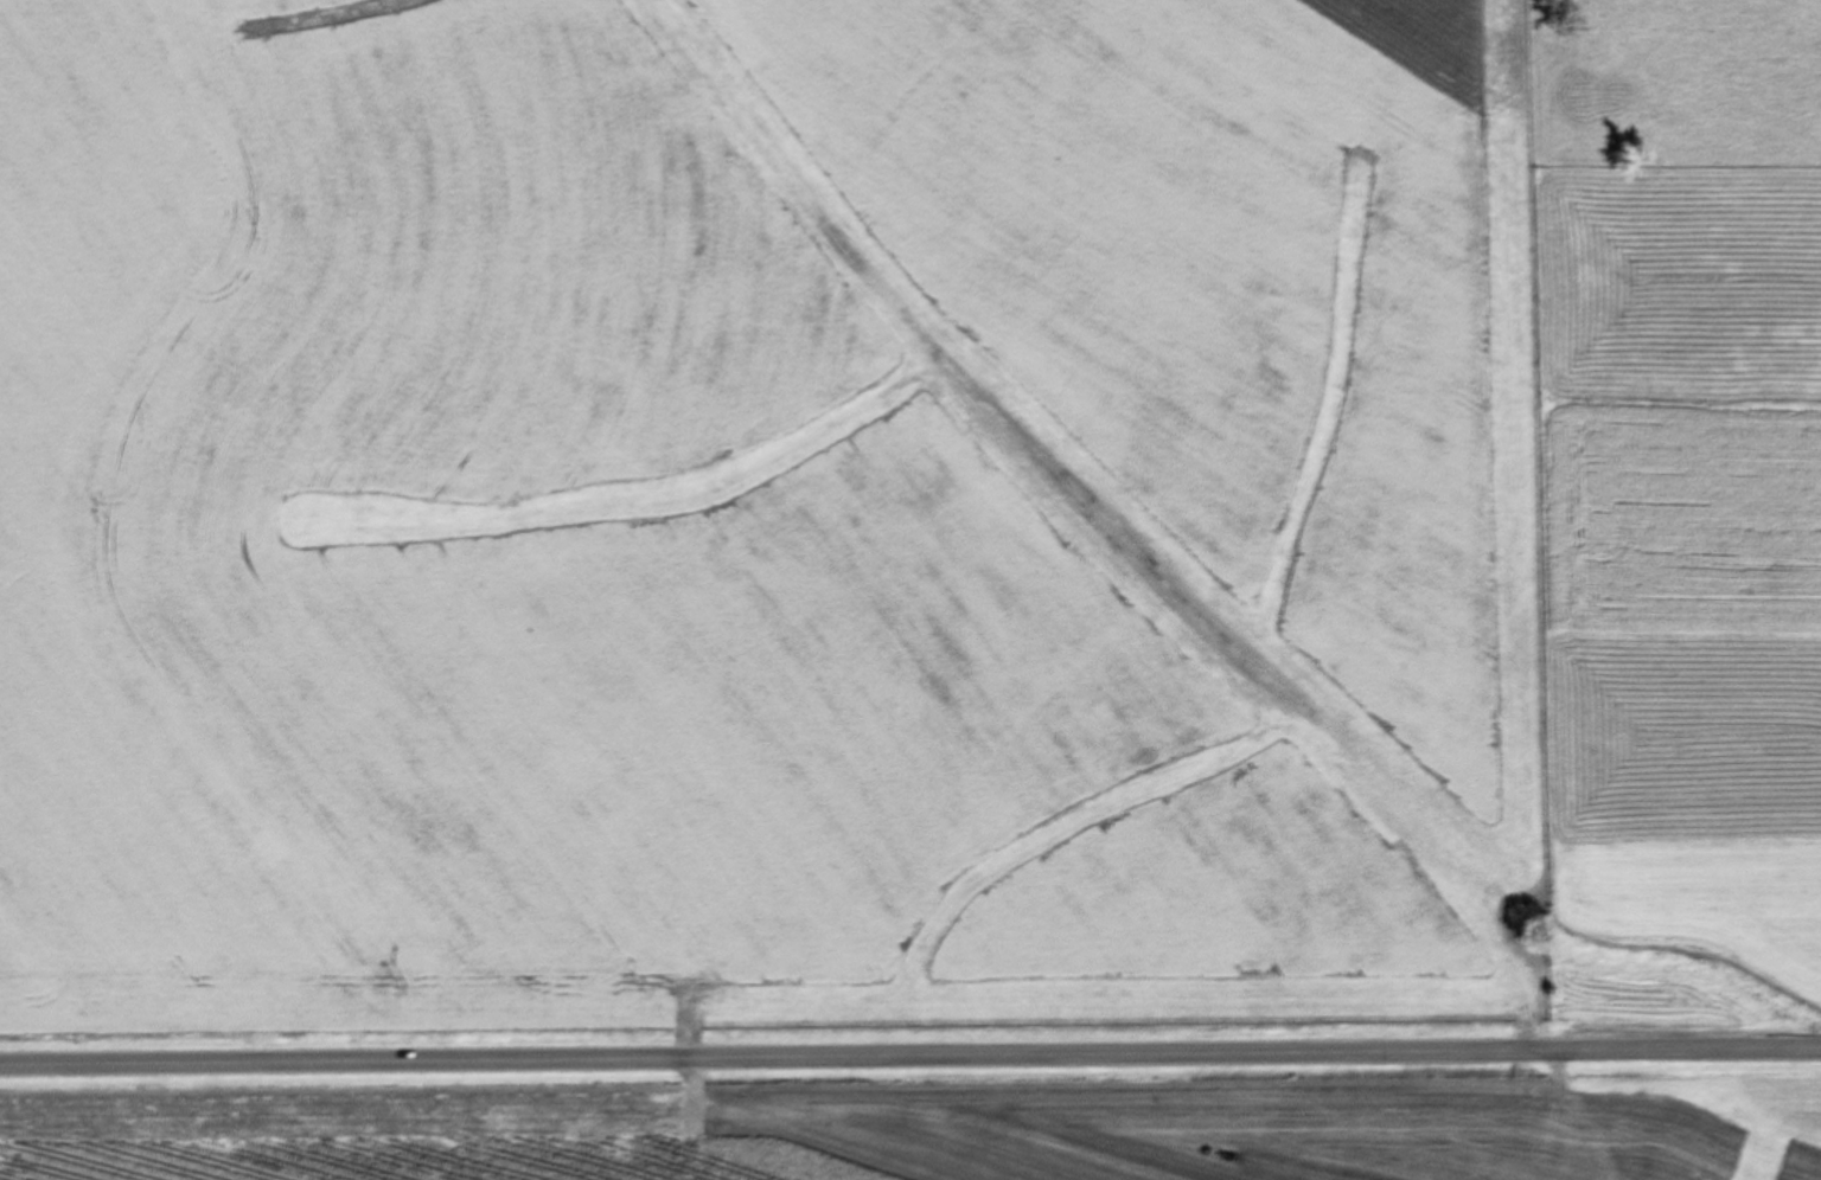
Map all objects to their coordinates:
road: (910, 1060)

